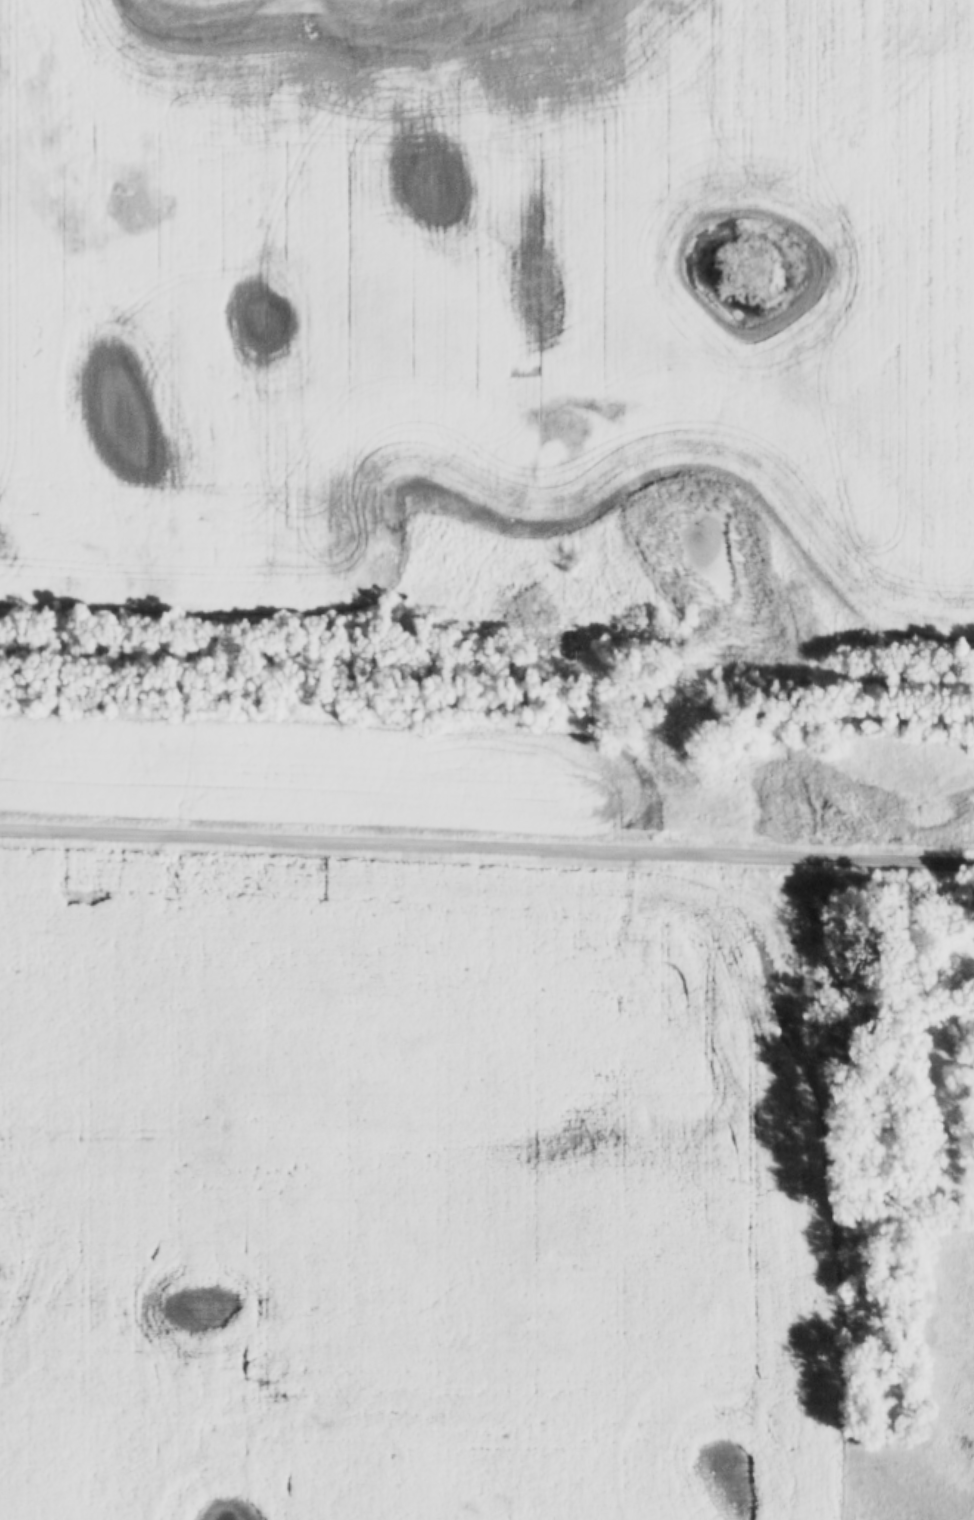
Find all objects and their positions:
road: (487, 848)

